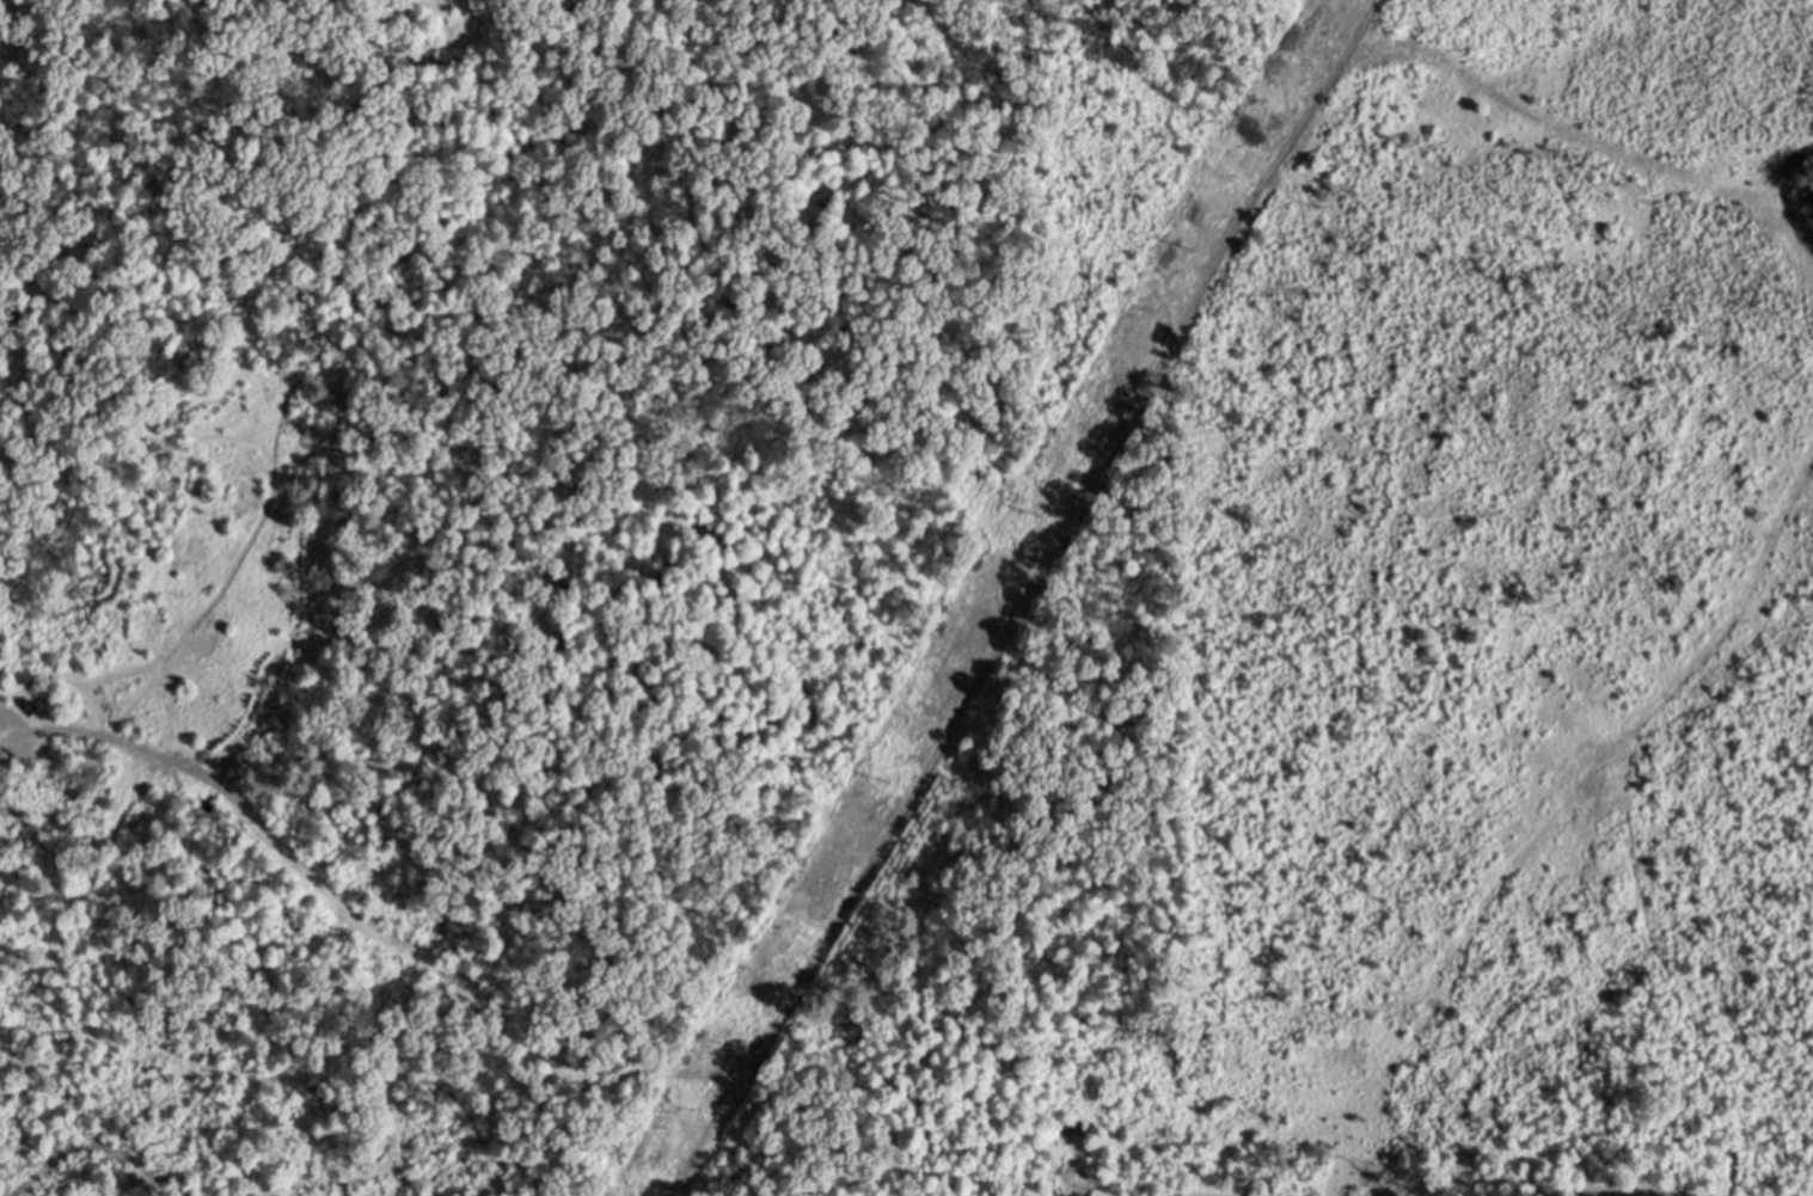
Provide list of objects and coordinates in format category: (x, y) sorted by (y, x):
power tower: (1195, 254)
power tower: (1045, 515)
power tower: (888, 786)
power tower: (734, 1044)

